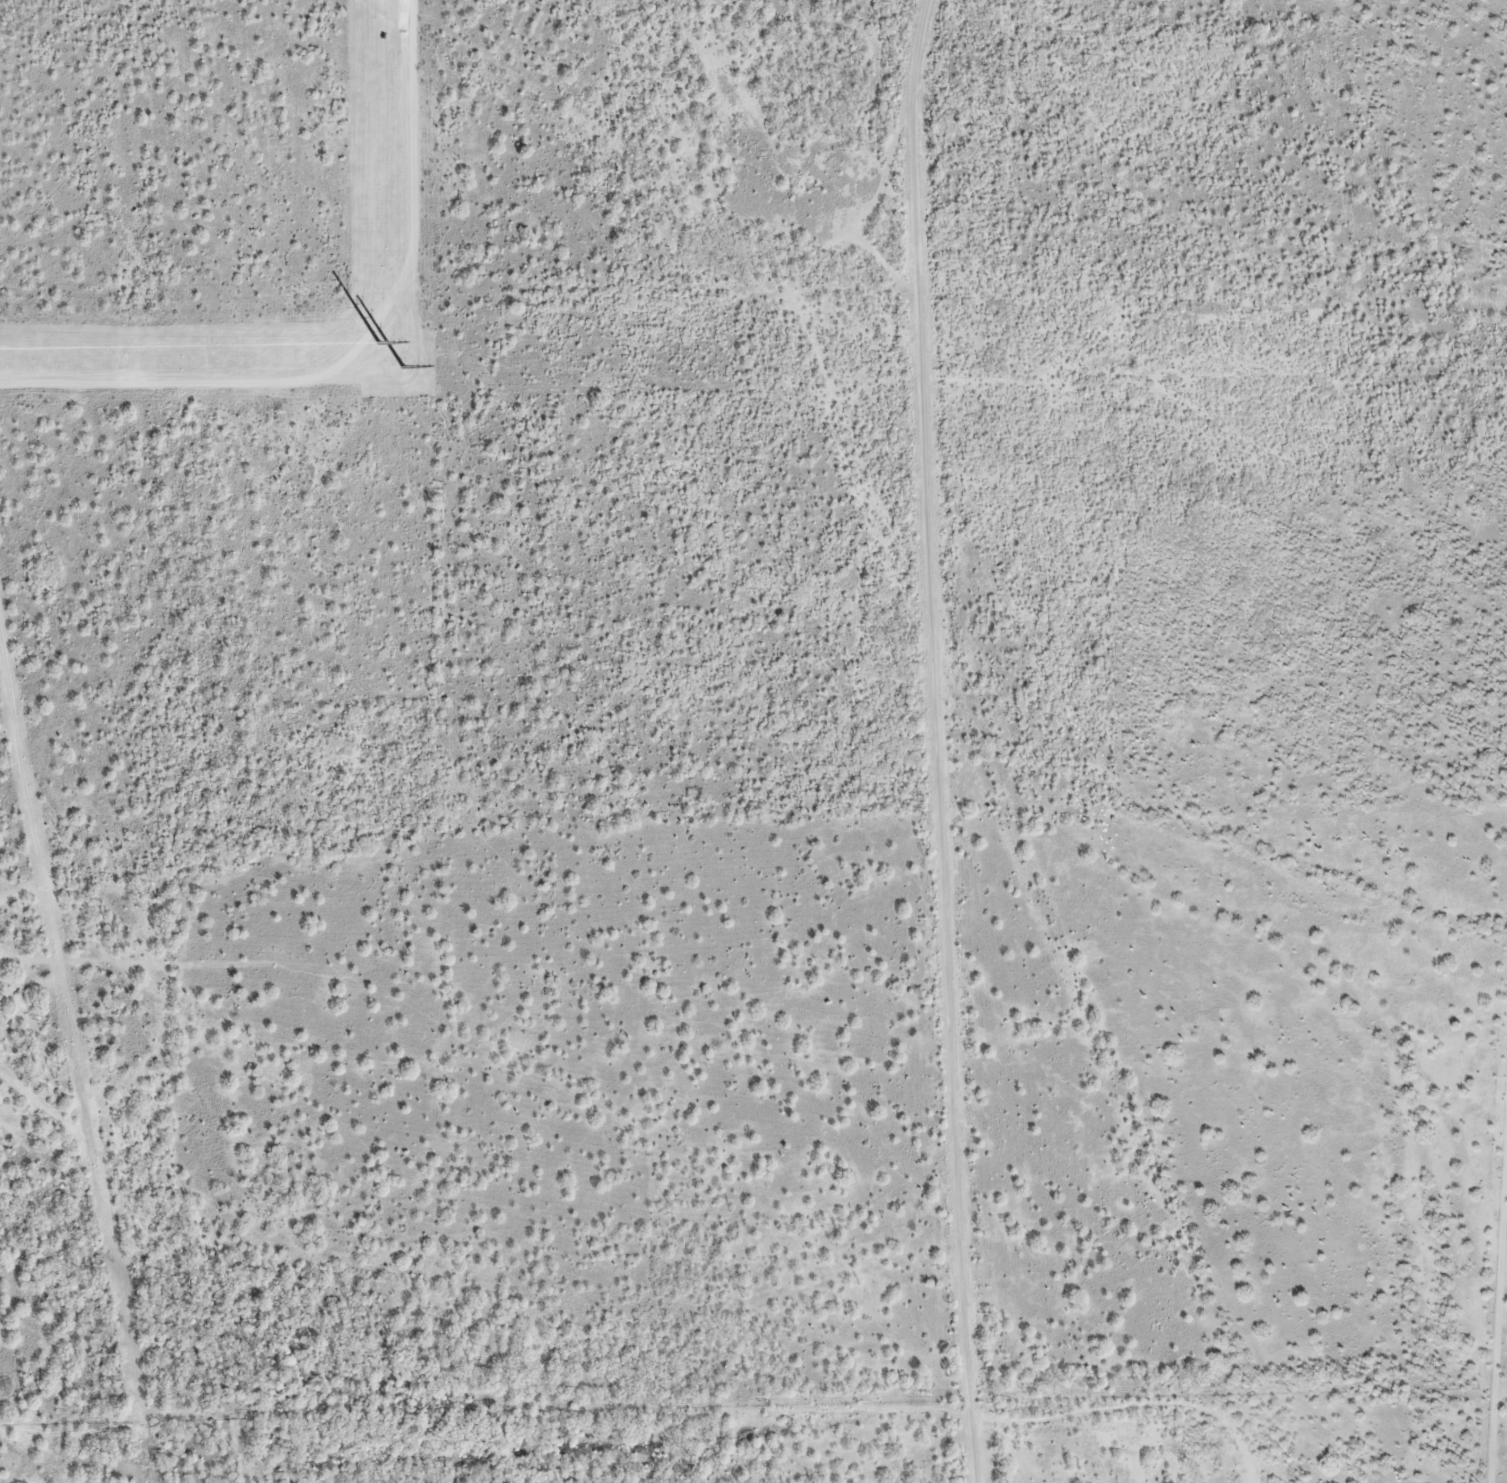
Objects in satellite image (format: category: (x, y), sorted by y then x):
power tower: (402, 367)
road: (912, 741)

